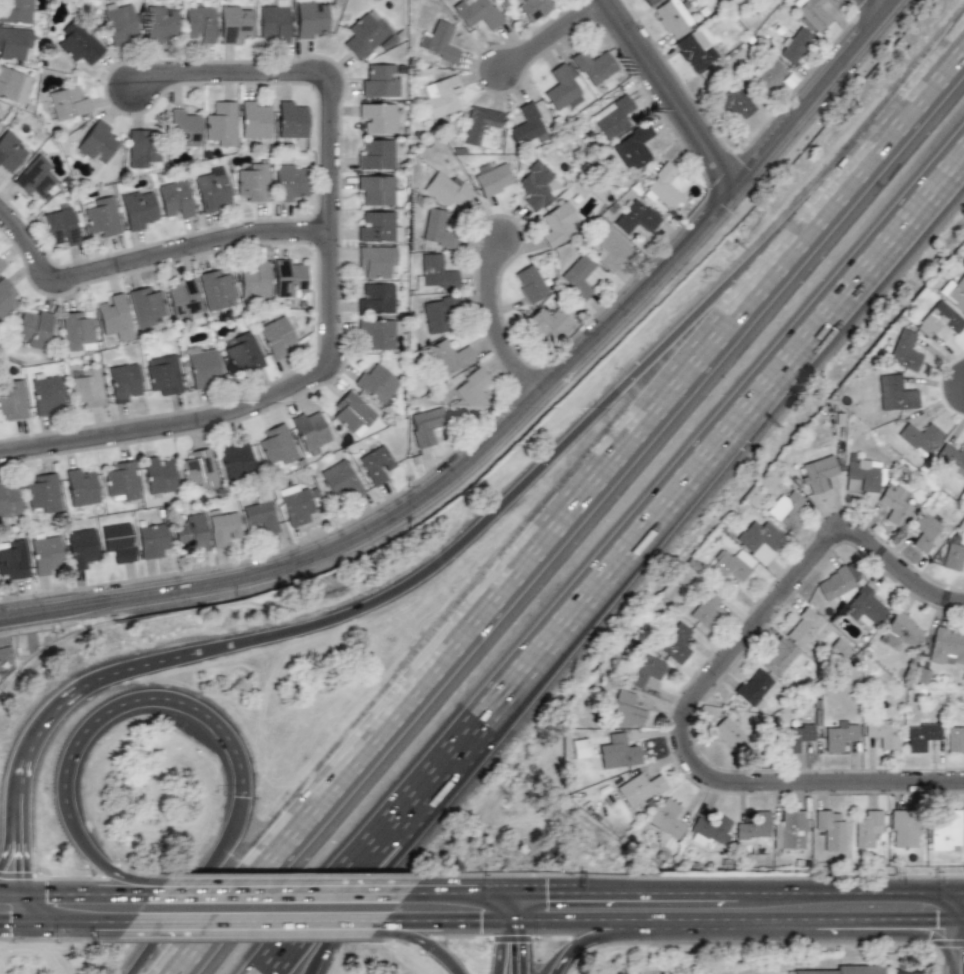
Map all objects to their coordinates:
building: (650, 2)
building: (533, 8)
road: (879, 9)
building: (17, 11)
building: (477, 13)
building: (811, 14)
building: (673, 17)
building: (310, 18)
building: (275, 21)
building: (160, 22)
building: (118, 23)
building: (199, 24)
building: (236, 24)
road: (554, 34)
building: (367, 35)
building: (14, 41)
building: (441, 41)
building: (77, 42)
building: (793, 43)
building: (693, 51)
building: (591, 65)
road: (242, 73)
building: (766, 76)
building: (379, 80)
building: (13, 85)
building: (560, 88)
road: (921, 94)
building: (441, 96)
road: (675, 98)
road: (821, 100)
building: (66, 102)
building: (735, 102)
building: (378, 117)
building: (611, 117)
building: (255, 119)
building: (292, 119)
building: (220, 124)
building: (525, 126)
building: (481, 127)
building: (183, 128)
building: (98, 142)
building: (140, 148)
building: (631, 148)
building: (10, 151)
building: (375, 154)
building: (34, 176)
building: (491, 178)
building: (253, 182)
building: (291, 183)
building: (536, 184)
building: (661, 187)
building: (212, 189)
building: (375, 190)
building: (450, 190)
building: (174, 199)
building: (139, 209)
building: (102, 216)
building: (633, 217)
building: (556, 223)
building: (60, 226)
building: (377, 226)
building: (436, 228)
building: (608, 249)
road: (148, 259)
building: (377, 261)
building: (2, 265)
building: (433, 272)
building: (287, 276)
building: (576, 276)
building: (254, 279)
building: (529, 282)
building: (216, 290)
building: (954, 293)
building: (5, 297)
building: (183, 298)
building: (376, 298)
building: (146, 306)
building: (436, 315)
building: (115, 316)
building: (940, 320)
building: (546, 322)
building: (34, 328)
road: (501, 329)
building: (77, 330)
building: (378, 332)
building: (276, 334)
building: (905, 349)
building: (242, 351)
building: (451, 354)
building: (201, 365)
building: (163, 374)
road: (310, 379)
building: (123, 381)
building: (377, 382)
building: (86, 386)
building: (473, 390)
building: (900, 391)
building: (46, 393)
building: (13, 399)
building: (353, 411)
building: (426, 426)
building: (309, 429)
building: (919, 437)
building: (277, 446)
road: (567, 447)
building: (952, 456)
building: (235, 460)
building: (375, 464)
building: (199, 468)
building: (820, 472)
building: (158, 474)
building: (865, 475)
building: (340, 479)
building: (120, 481)
building: (81, 486)
building: (44, 492)
building: (9, 501)
road: (421, 505)
building: (894, 505)
building: (296, 506)
building: (787, 506)
building: (259, 515)
building: (222, 526)
building: (190, 532)
building: (925, 535)
building: (151, 540)
building: (759, 540)
building: (118, 542)
building: (80, 547)
building: (45, 552)
building: (953, 556)
building: (14, 559)
road: (524, 559)
building: (730, 564)
road: (896, 567)
road: (617, 568)
building: (835, 584)
building: (866, 607)
building: (705, 608)
building: (807, 627)
building: (900, 631)
building: (675, 642)
building: (947, 645)
building: (839, 649)
building: (780, 656)
building: (645, 671)
building: (920, 675)
building: (754, 687)
road: (63, 699)
road: (143, 699)
building: (626, 709)
building: (882, 731)
building: (728, 733)
building: (795, 736)
building: (839, 736)
building: (921, 736)
building: (955, 737)
building: (580, 746)
building: (618, 752)
road: (697, 764)
building: (640, 788)
building: (666, 818)
building: (753, 825)
building: (709, 828)
building: (868, 828)
building: (904, 828)
building: (830, 829)
building: (790, 830)
building: (945, 830)
road: (391, 860)
road: (17, 861)
traffic signals: (18, 867)
road: (102, 868)
road: (201, 890)
road: (827, 893)
road: (942, 893)
road: (88, 894)
road: (282, 894)
road: (456, 894)
road: (513, 894)
traffic signals: (548, 894)
road: (629, 894)
road: (9, 895)
traffic signals: (47, 895)
road: (504, 908)
road: (522, 908)
road: (28, 911)
road: (887, 920)
traffic signals: (936, 920)
road: (666, 921)
road: (259, 922)
road: (444, 922)
traffic signals: (482, 922)
road: (513, 922)
road: (89, 923)
traffic signals: (11, 924)
road: (21, 924)
road: (591, 941)
road: (426, 943)
road: (520, 947)
road: (500, 948)
traffic signals: (520, 950)
building: (845, 970)
road: (897, 972)

